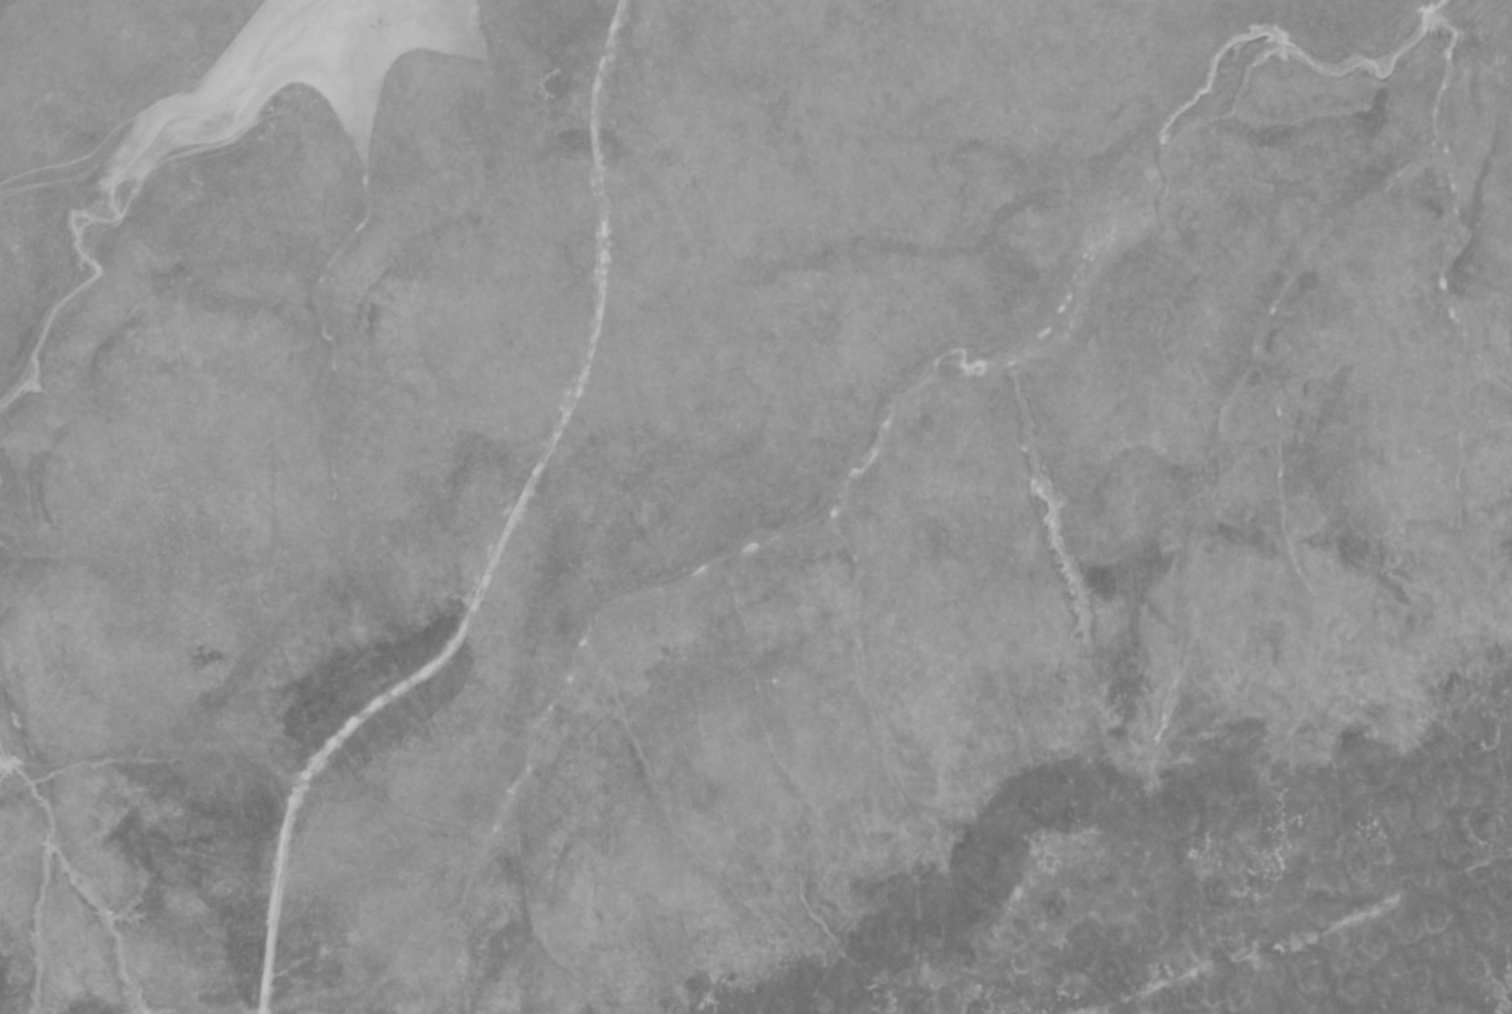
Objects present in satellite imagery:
road: (1299, 940)

